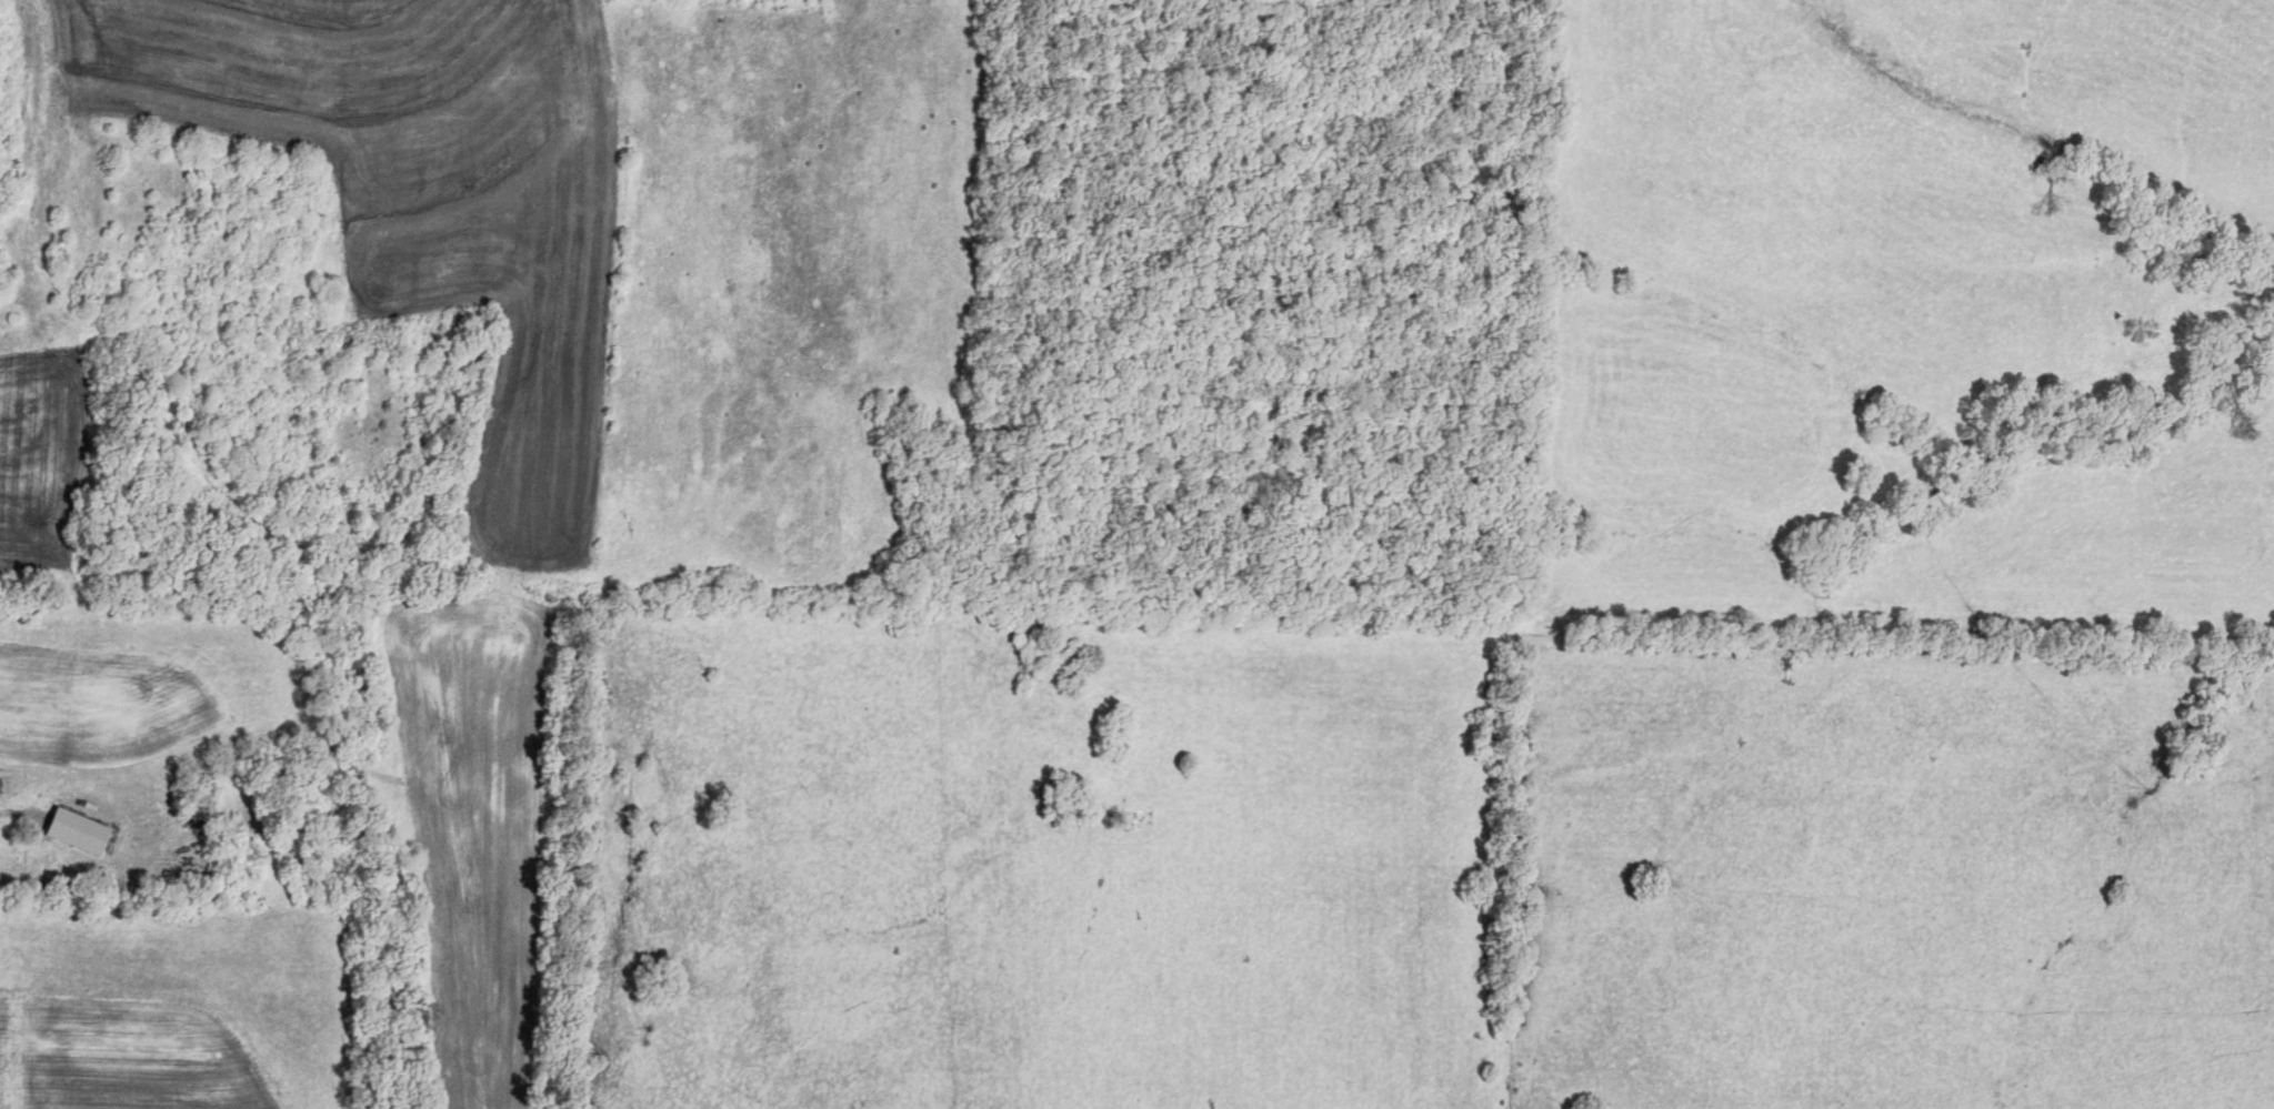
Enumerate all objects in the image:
building: (73, 833)

